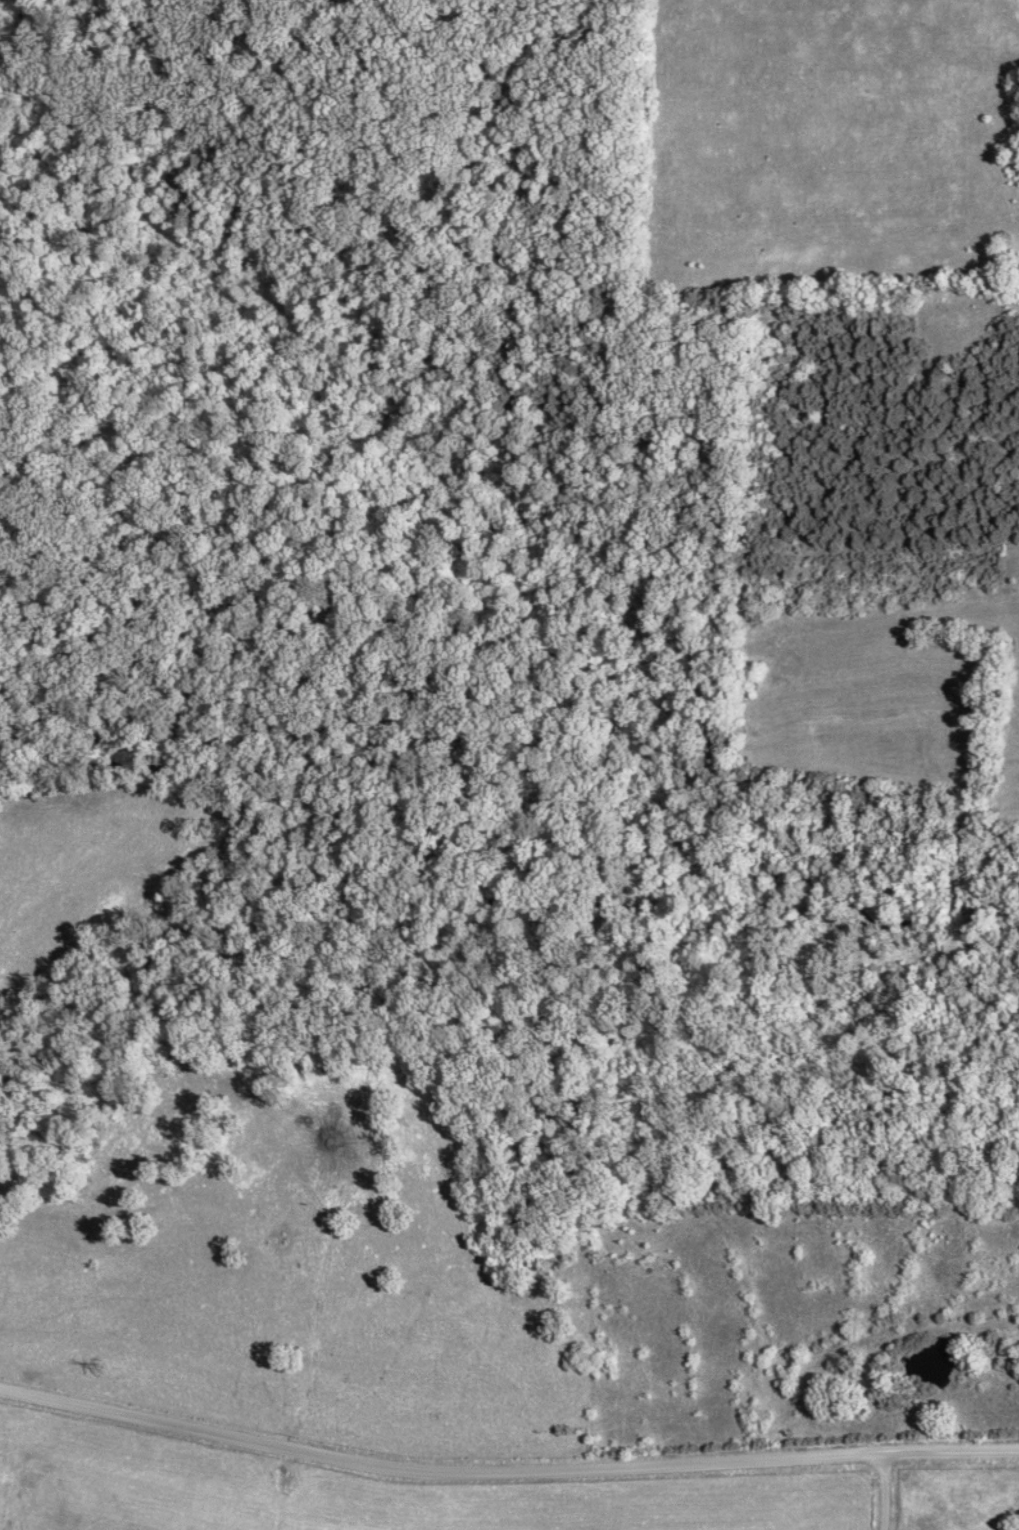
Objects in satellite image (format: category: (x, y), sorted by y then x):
road: (505, 1472)
road: (889, 1494)

